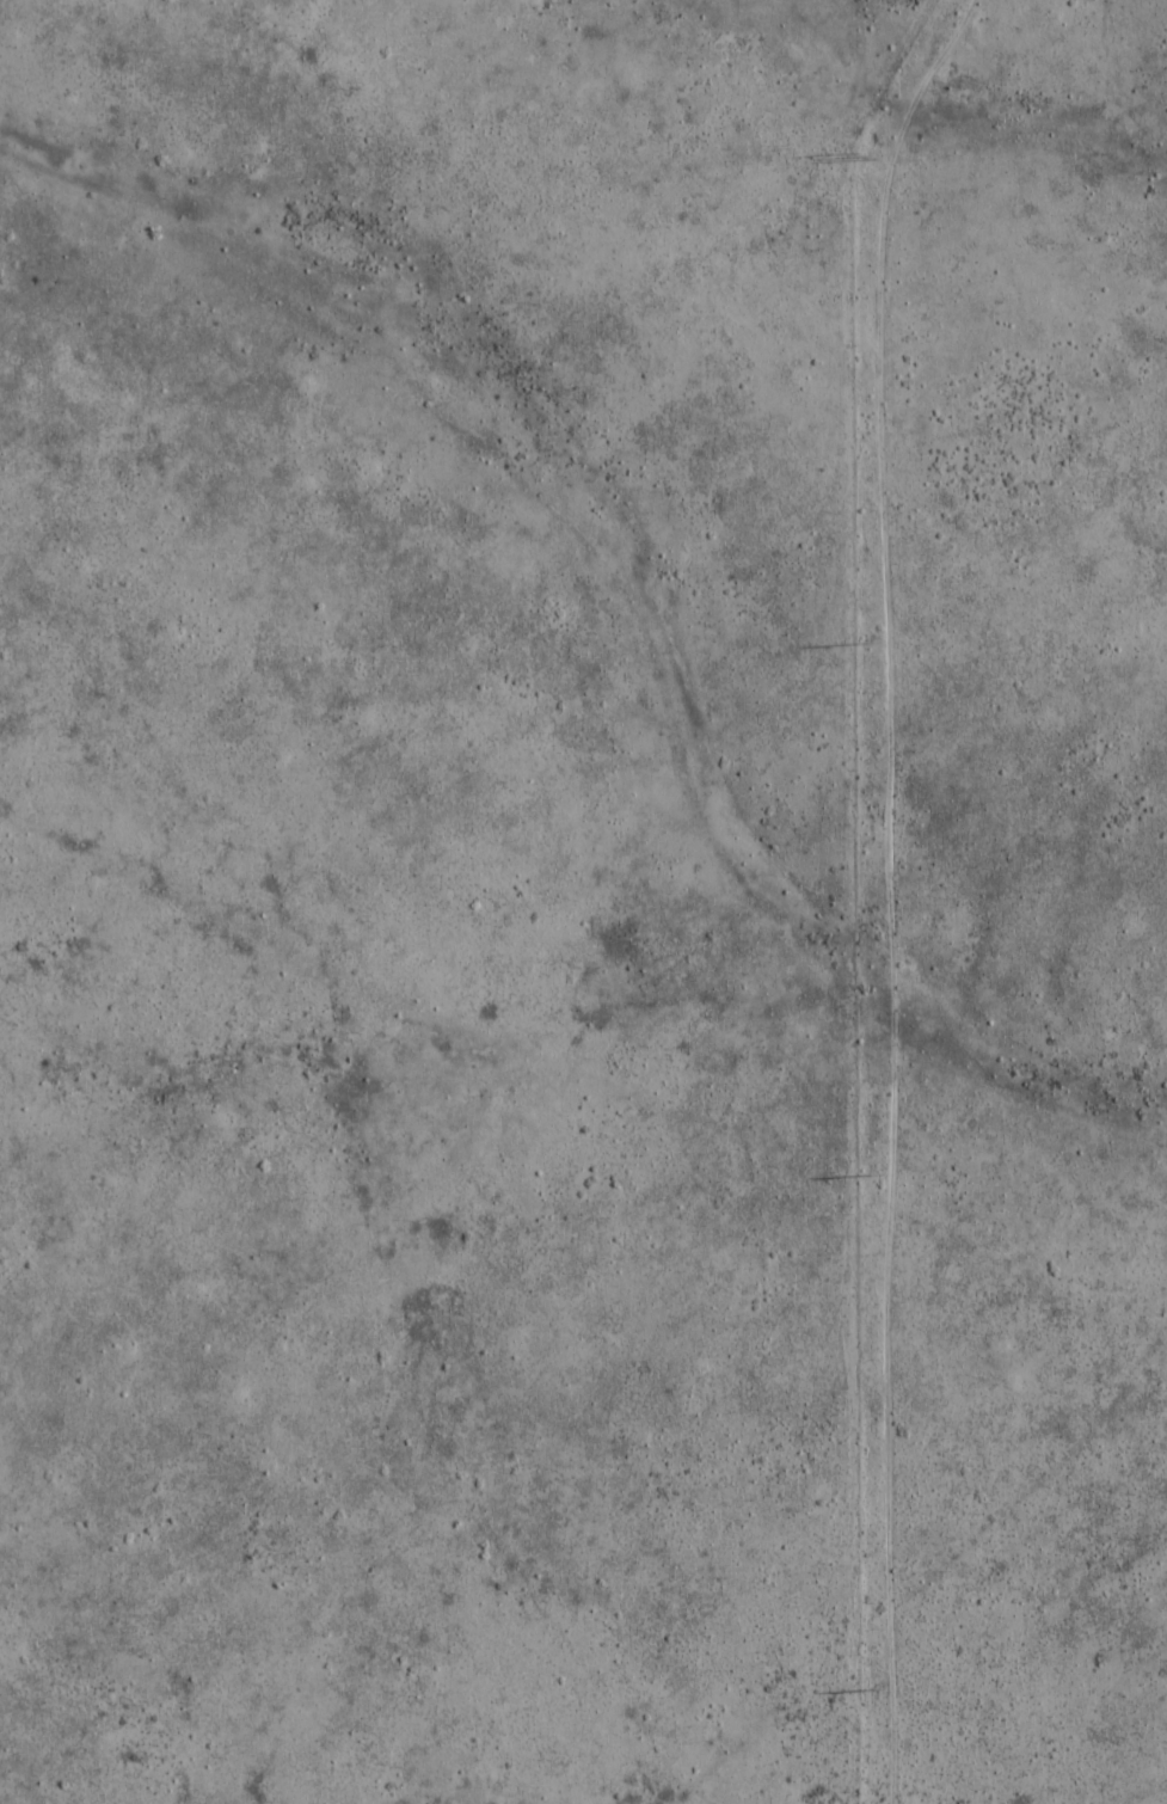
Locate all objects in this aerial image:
road: (883, 799)
road: (1027, 1459)
road: (886, 1712)
road: (792, 1722)

